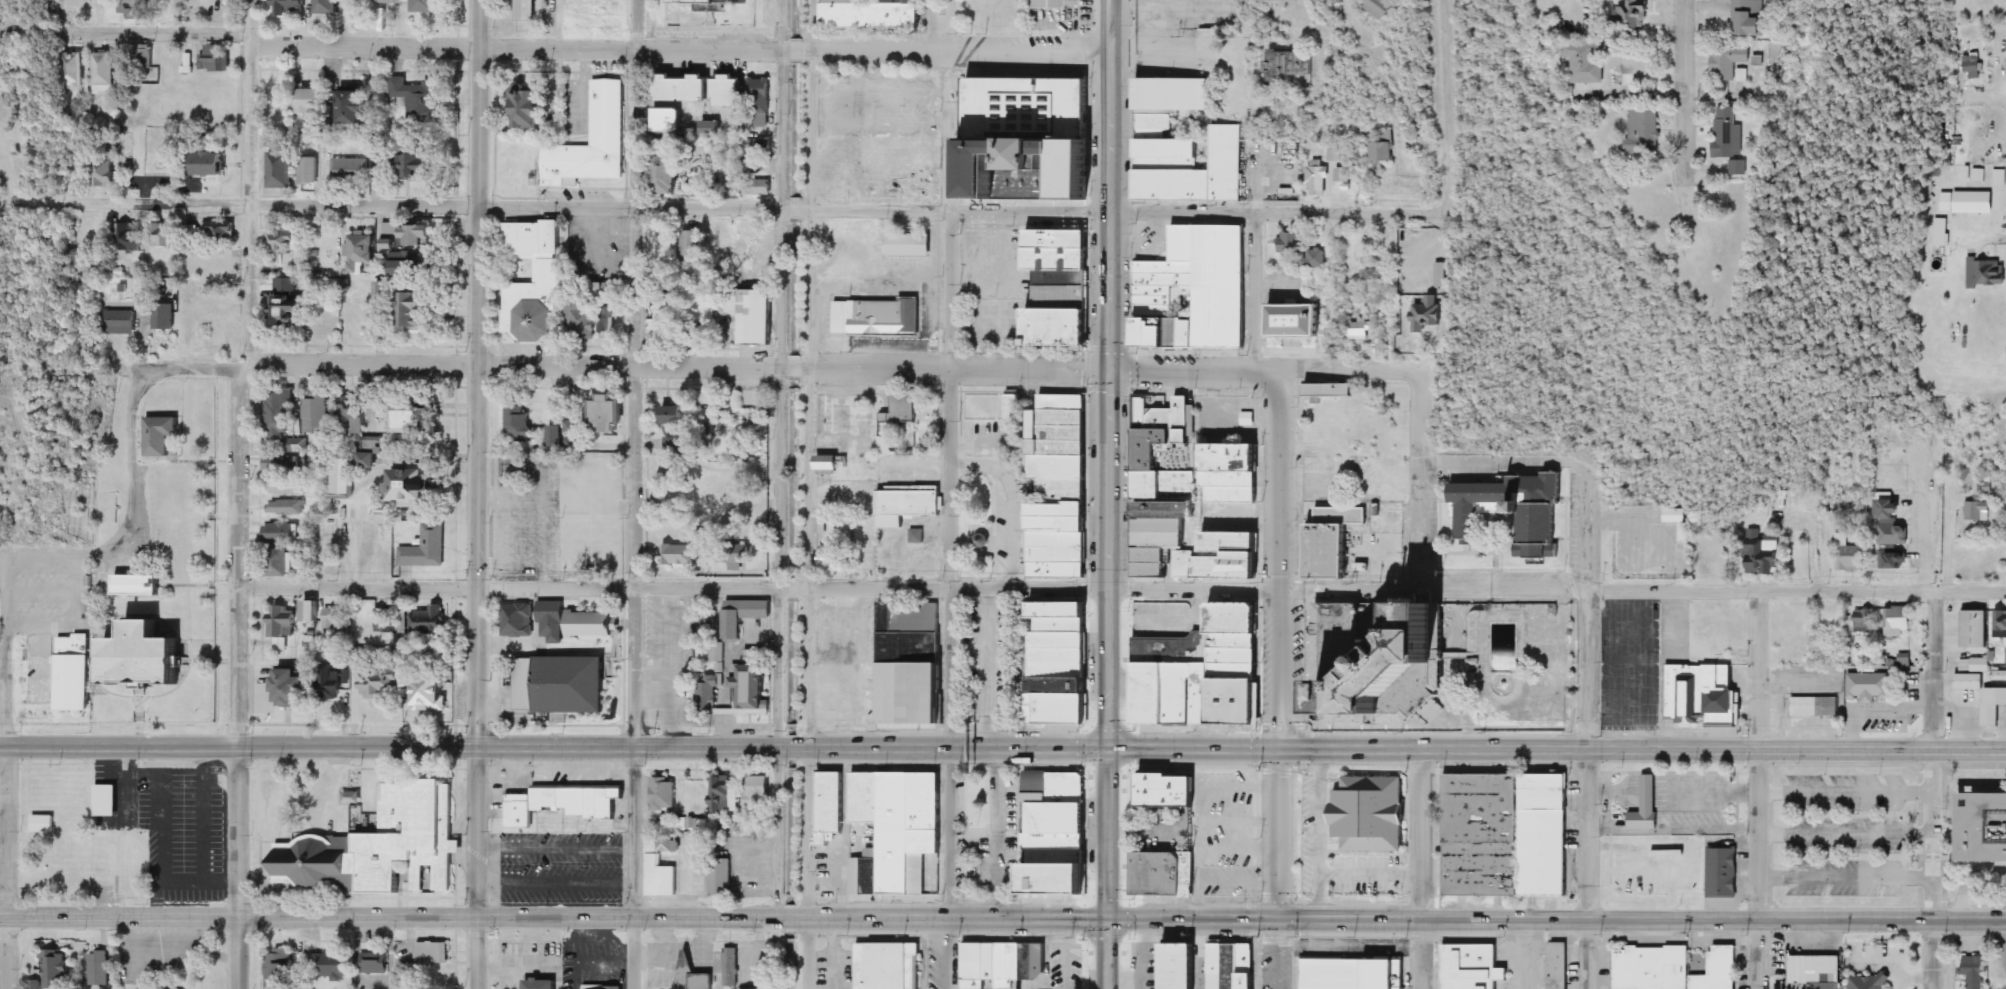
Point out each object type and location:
road: (1534, 0)
building: (717, 2)
building: (1051, 4)
building: (429, 6)
road: (1349, 6)
building: (72, 7)
building: (290, 7)
building: (326, 7)
building: (1377, 8)
building: (135, 9)
building: (525, 10)
building: (1631, 13)
building: (869, 14)
building: (1754, 18)
road: (585, 49)
building: (144, 59)
building: (213, 59)
building: (1586, 62)
building: (1729, 63)
building: (1969, 66)
building: (72, 69)
building: (103, 74)
building: (684, 88)
building: (732, 91)
road: (2005, 91)
building: (279, 97)
building: (417, 97)
building: (313, 101)
building: (762, 102)
road: (1447, 102)
building: (354, 106)
building: (529, 107)
road: (1687, 107)
building: (607, 113)
building: (670, 120)
building: (711, 128)
building: (1645, 130)
building: (1731, 135)
building: (1020, 138)
building: (759, 145)
building: (1182, 147)
building: (1386, 148)
building: (214, 164)
building: (417, 166)
building: (748, 167)
building: (348, 169)
building: (281, 170)
building: (309, 170)
building: (103, 173)
building: (1339, 175)
building: (666, 178)
building: (1318, 178)
road: (39, 201)
building: (1960, 202)
road: (593, 206)
road: (1279, 212)
building: (220, 232)
building: (391, 232)
building: (1936, 232)
building: (162, 235)
building: (419, 235)
road: (2005, 235)
building: (130, 238)
building: (284, 240)
building: (663, 241)
building: (1290, 242)
building: (910, 244)
building: (691, 245)
building: (756, 250)
building: (361, 253)
building: (1314, 259)
building: (414, 266)
building: (550, 272)
building: (1979, 273)
building: (1374, 275)
building: (606, 291)
building: (1195, 291)
building: (1059, 292)
building: (288, 302)
building: (732, 303)
building: (412, 311)
building: (1428, 315)
building: (665, 316)
building: (165, 317)
building: (758, 317)
building: (876, 318)
building: (1298, 321)
building: (590, 322)
building: (118, 323)
building: (1357, 329)
road: (615, 366)
traffic signals: (1107, 369)
road: (1262, 370)
road: (246, 374)
road: (475, 374)
road: (636, 374)
road: (779, 374)
road: (810, 374)
road: (949, 374)
road: (1106, 374)
building: (1331, 391)
building: (899, 408)
building: (316, 413)
road: (1419, 413)
building: (610, 414)
building: (354, 415)
building: (677, 415)
building: (413, 420)
building: (281, 421)
building: (1014, 421)
building: (518, 422)
building: (161, 435)
building: (677, 445)
building: (557, 446)
building: (885, 446)
building: (368, 453)
building: (317, 460)
building: (281, 463)
building: (830, 463)
building: (741, 469)
building: (1234, 474)
building: (345, 478)
road: (1278, 478)
building: (414, 487)
building: (1060, 487)
building: (287, 488)
railway: (789, 494)
building: (752, 503)
building: (907, 504)
building: (286, 507)
building: (1972, 510)
building: (1182, 511)
building: (1542, 519)
road: (1419, 522)
building: (282, 533)
building: (1331, 542)
building: (424, 548)
building: (1751, 552)
building: (866, 554)
building: (677, 555)
building: (1707, 556)
building: (1846, 556)
building: (832, 559)
building: (736, 562)
road: (63, 563)
building: (284, 564)
building: (140, 586)
road: (672, 587)
road: (1796, 588)
road: (1347, 591)
building: (311, 612)
building: (1899, 615)
building: (743, 616)
building: (1865, 616)
building: (332, 619)
building: (428, 620)
building: (517, 620)
building: (384, 621)
building: (551, 621)
building: (591, 624)
building: (1996, 624)
building: (282, 625)
building: (1965, 628)
building: (1905, 656)
building: (149, 658)
building: (1974, 664)
building: (1060, 665)
building: (910, 667)
road: (1762, 667)
road: (1934, 667)
road: (1588, 669)
building: (75, 673)
building: (1211, 678)
building: (754, 682)
building: (329, 683)
building: (1872, 683)
building: (379, 685)
building: (572, 685)
building: (294, 687)
building: (711, 688)
building: (1403, 691)
building: (432, 694)
building: (1694, 695)
building: (1979, 695)
building: (1816, 704)
road: (553, 749)
traffic signals: (1107, 749)
traffic signals: (1280, 750)
road: (1556, 750)
building: (1064, 785)
road: (1847, 785)
road: (1933, 788)
building: (1167, 790)
building: (761, 792)
building: (664, 794)
building: (720, 795)
building: (107, 801)
building: (564, 803)
building: (830, 807)
building: (1369, 812)
road: (4, 816)
building: (1060, 817)
building: (1641, 821)
building: (43, 824)
road: (1846, 829)
building: (1983, 829)
parking lot: (1871, 830)
building: (897, 831)
building: (1482, 831)
building: (1545, 833)
road: (947, 835)
road: (1108, 835)
road: (1279, 835)
building: (1056, 841)
building: (378, 847)
road: (4, 848)
building: (1059, 858)
building: (653, 860)
road: (8, 865)
road: (1760, 867)
road: (238, 868)
road: (805, 868)
road: (476, 869)
road: (634, 869)
building: (1188, 869)
road: (1422, 869)
road: (1588, 870)
building: (1159, 872)
building: (1716, 872)
road: (1846, 873)
building: (691, 879)
building: (720, 879)
building: (1060, 885)
road: (1932, 894)
road: (473, 914)
road: (1027, 921)
traffic signals: (1279, 921)
traffic signals: (1109, 922)
road: (1557, 923)
road: (1932, 951)
building: (432, 953)
road: (945, 955)
road: (1109, 955)
road: (1279, 955)
building: (374, 964)
building: (887, 964)
building: (1559, 964)
building: (332, 965)
building: (991, 965)
building: (1472, 965)
building: (1180, 966)
building: (730, 967)
building: (98, 968)
building: (1651, 968)
building: (277, 969)
building: (55, 970)
building: (1718, 970)
building: (1334, 972)
building: (1816, 972)
building: (1967, 972)
building: (1399, 973)
building: (692, 974)
building: (1380, 975)
building: (1251, 982)
building: (1862, 982)
building: (541, 984)
building: (162, 987)
building: (601, 987)
building: (754, 988)

